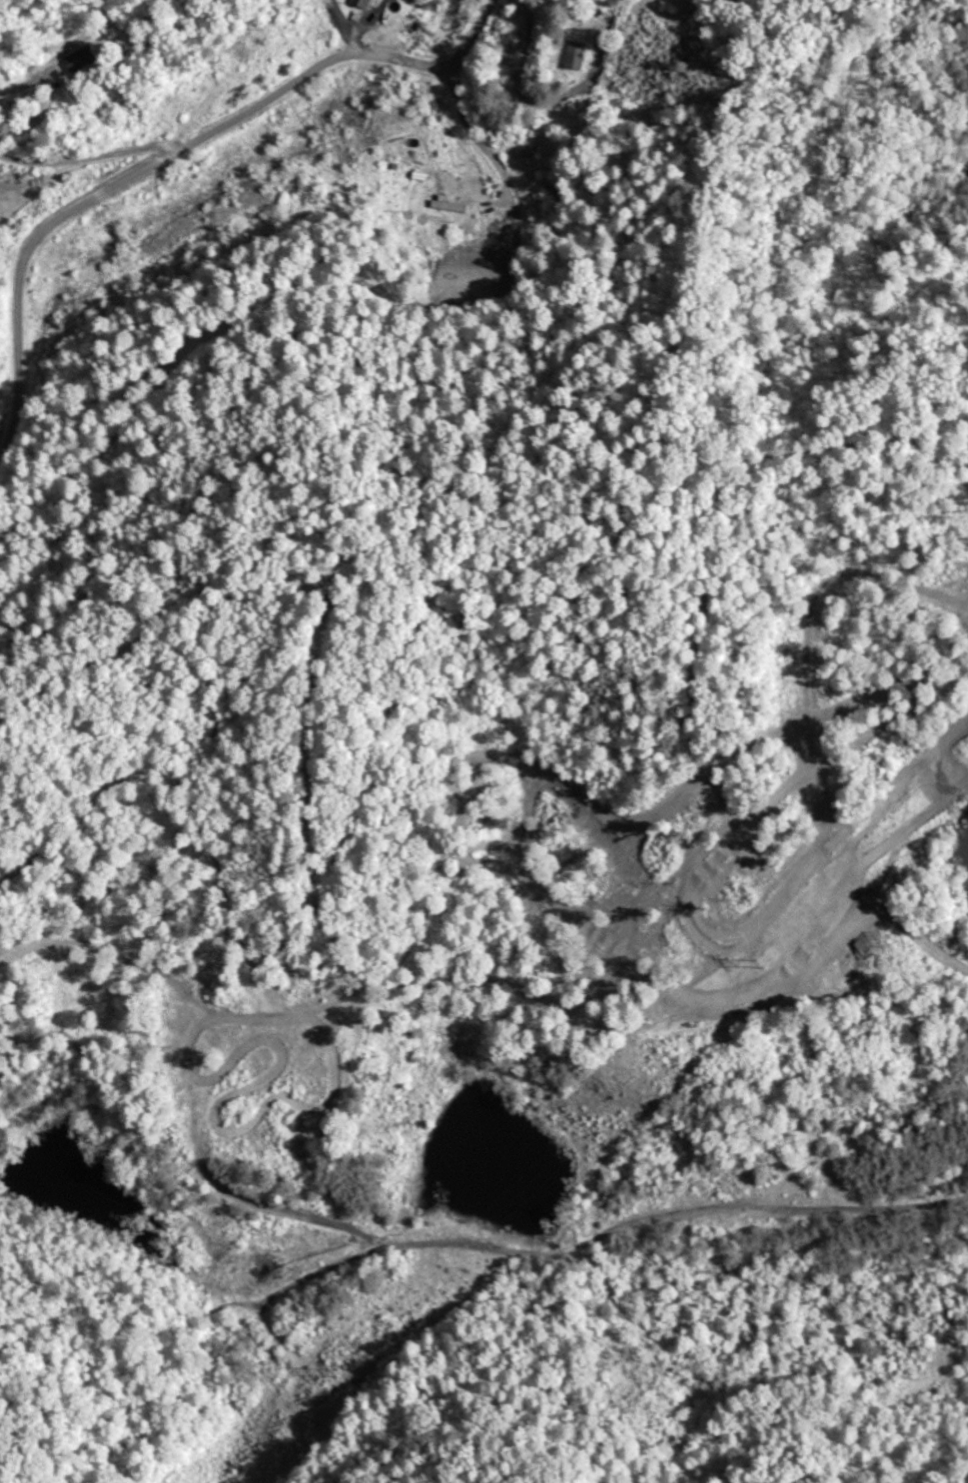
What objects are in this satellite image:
building: (365, 4)
building: (580, 55)
building: (86, 59)
building: (497, 219)
road: (299, 276)

